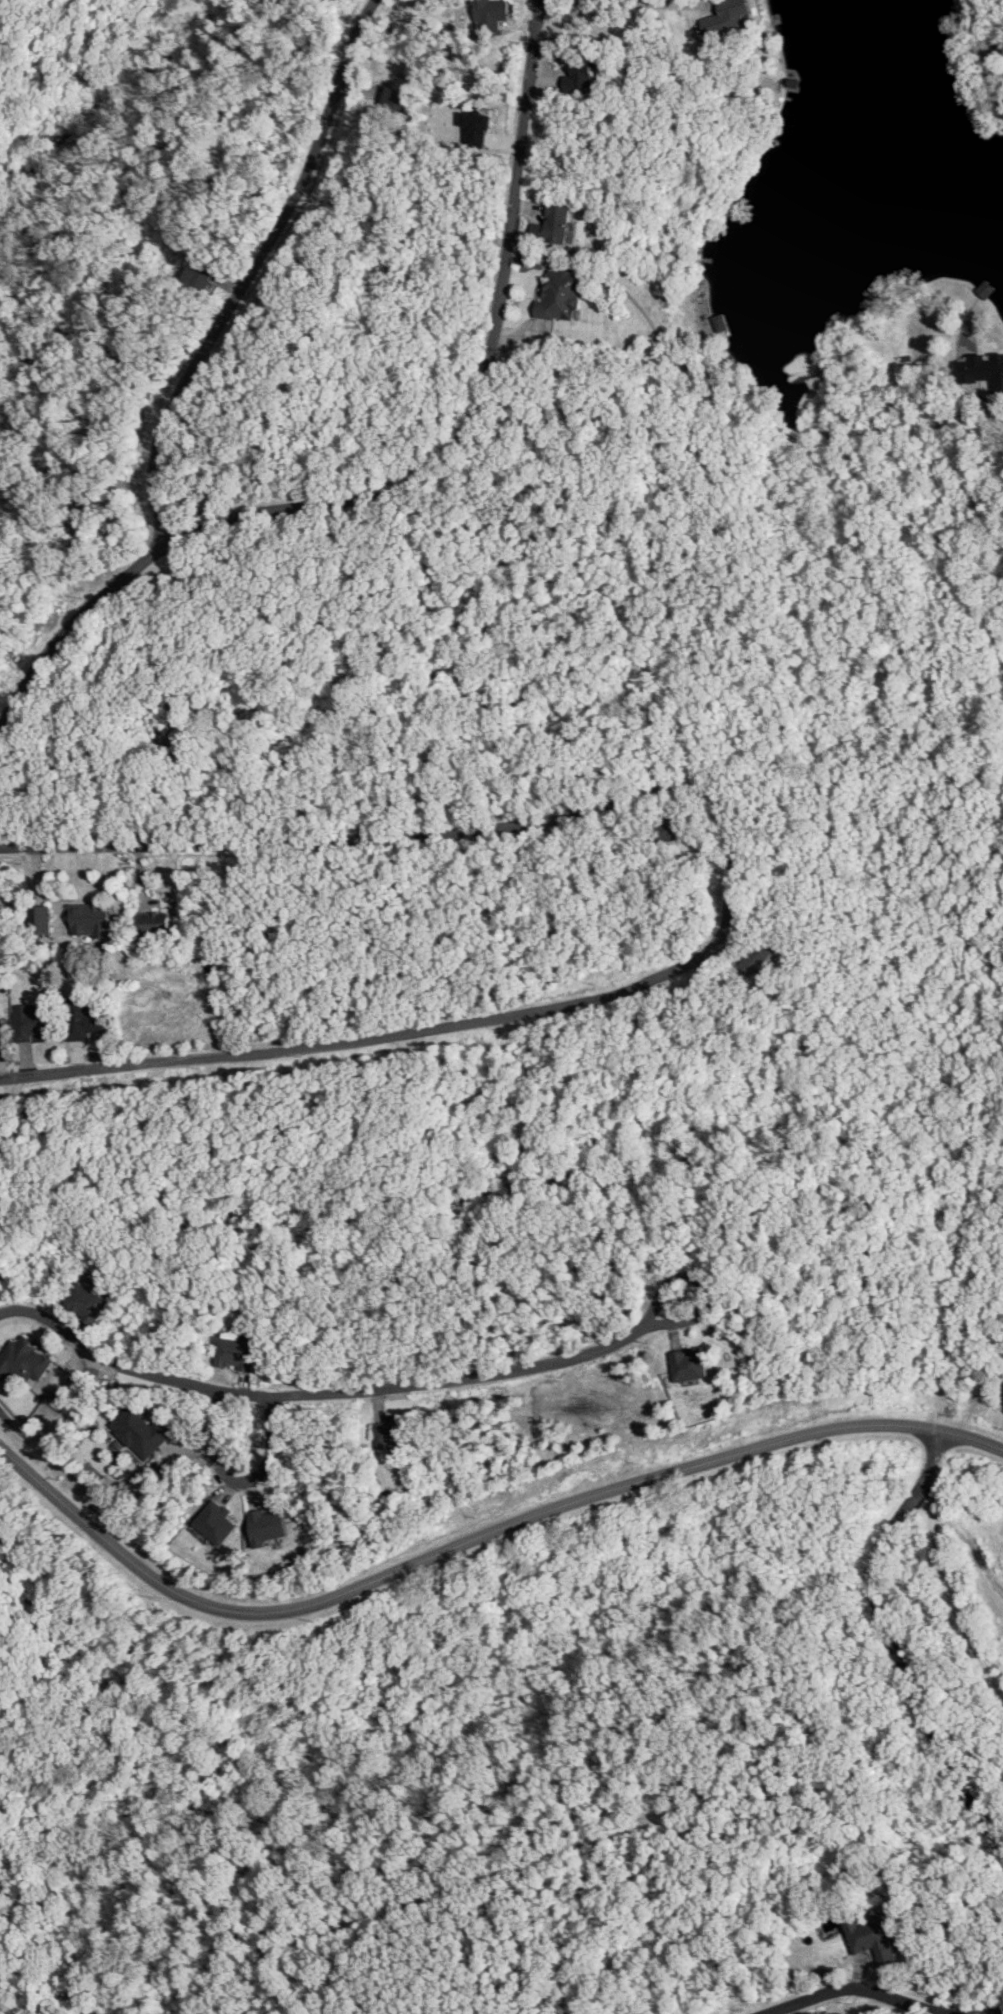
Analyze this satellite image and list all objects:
building: (489, 13)
building: (725, 16)
building: (579, 74)
building: (394, 98)
building: (476, 126)
building: (556, 223)
road: (256, 273)
building: (196, 276)
building: (562, 295)
building: (982, 370)
road: (487, 382)
road: (1000, 410)
road: (483, 494)
road: (70, 627)
building: (672, 828)
road: (731, 879)
building: (40, 919)
building: (89, 919)
building: (152, 923)
building: (756, 958)
building: (82, 1019)
building: (30, 1024)
building: (1, 1034)
building: (87, 1302)
building: (235, 1351)
building: (23, 1359)
building: (688, 1364)
road: (342, 1391)
building: (140, 1431)
building: (390, 1431)
road: (241, 1478)
building: (216, 1522)
building: (267, 1526)
road: (477, 1539)
road: (941, 1568)
road: (903, 1668)
road: (442, 1892)
building: (870, 1936)
road: (858, 1990)
road: (997, 2011)

